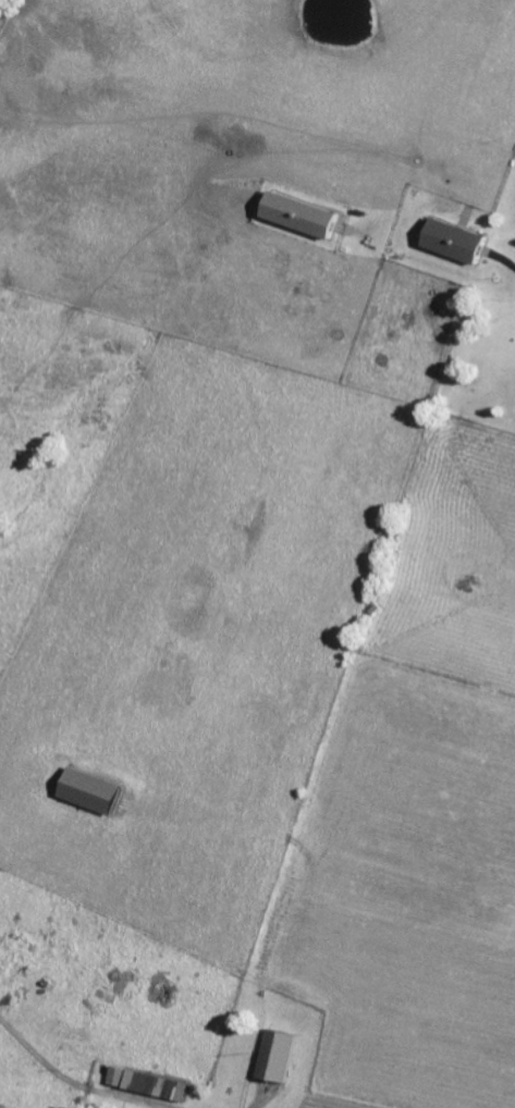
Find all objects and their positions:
building: (306, 217)
building: (461, 242)
building: (94, 792)
building: (279, 1057)
building: (118, 1078)
road: (69, 1083)
building: (158, 1087)

